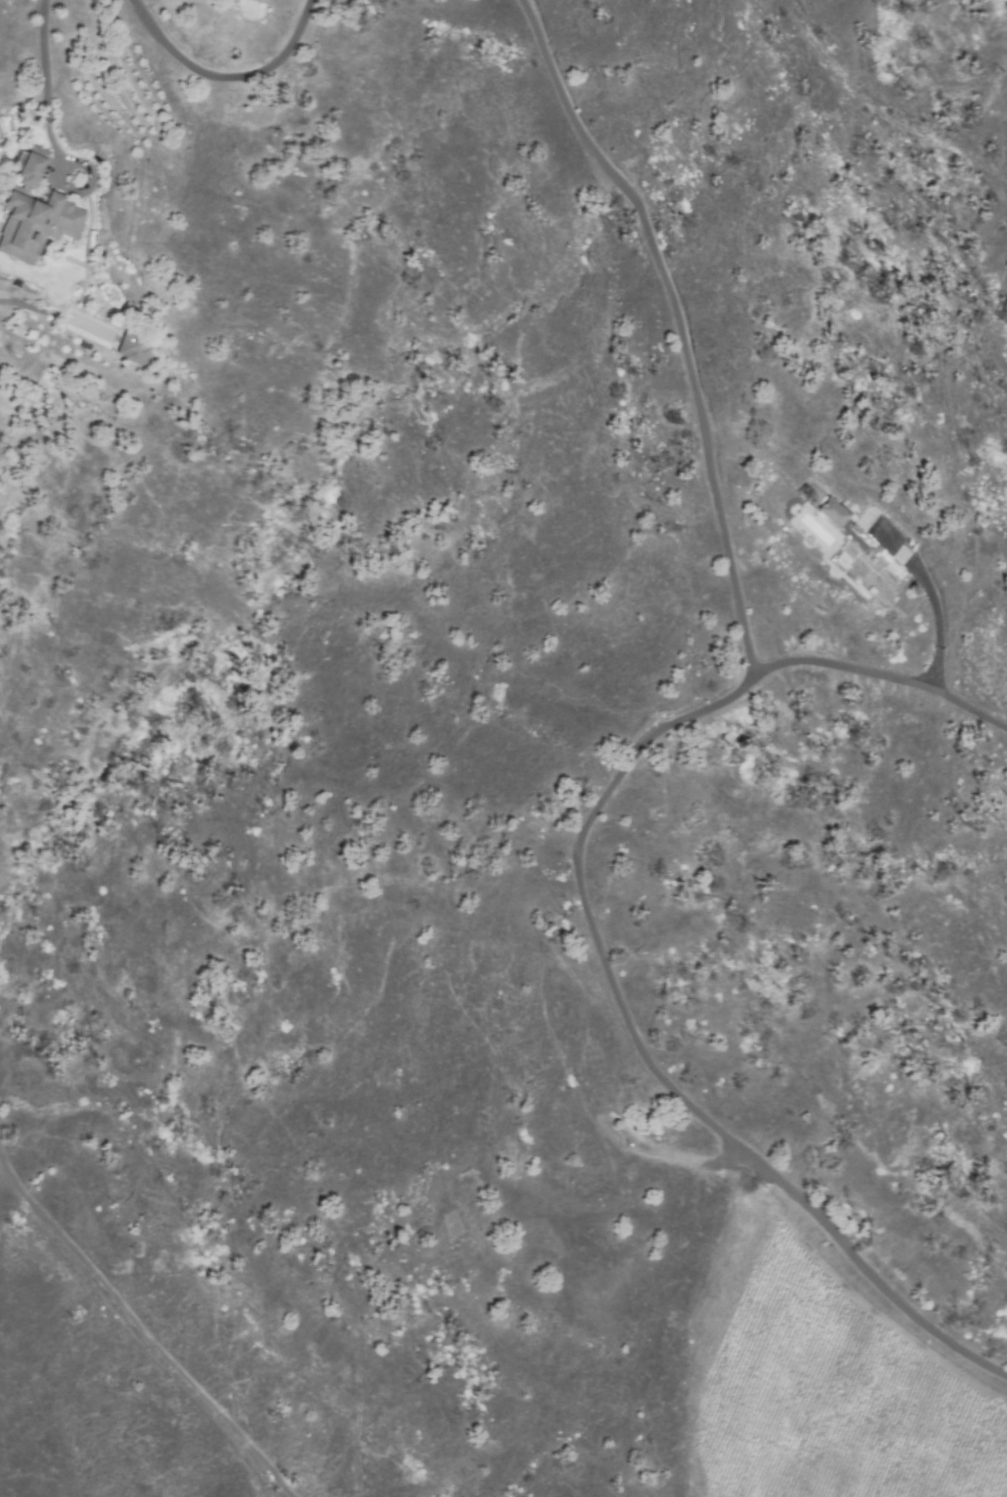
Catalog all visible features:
building: (259, 0)
road: (225, 78)
road: (46, 81)
building: (28, 166)
building: (36, 224)
road: (678, 322)
building: (832, 513)
road: (939, 624)
road: (595, 937)
road: (143, 1328)

